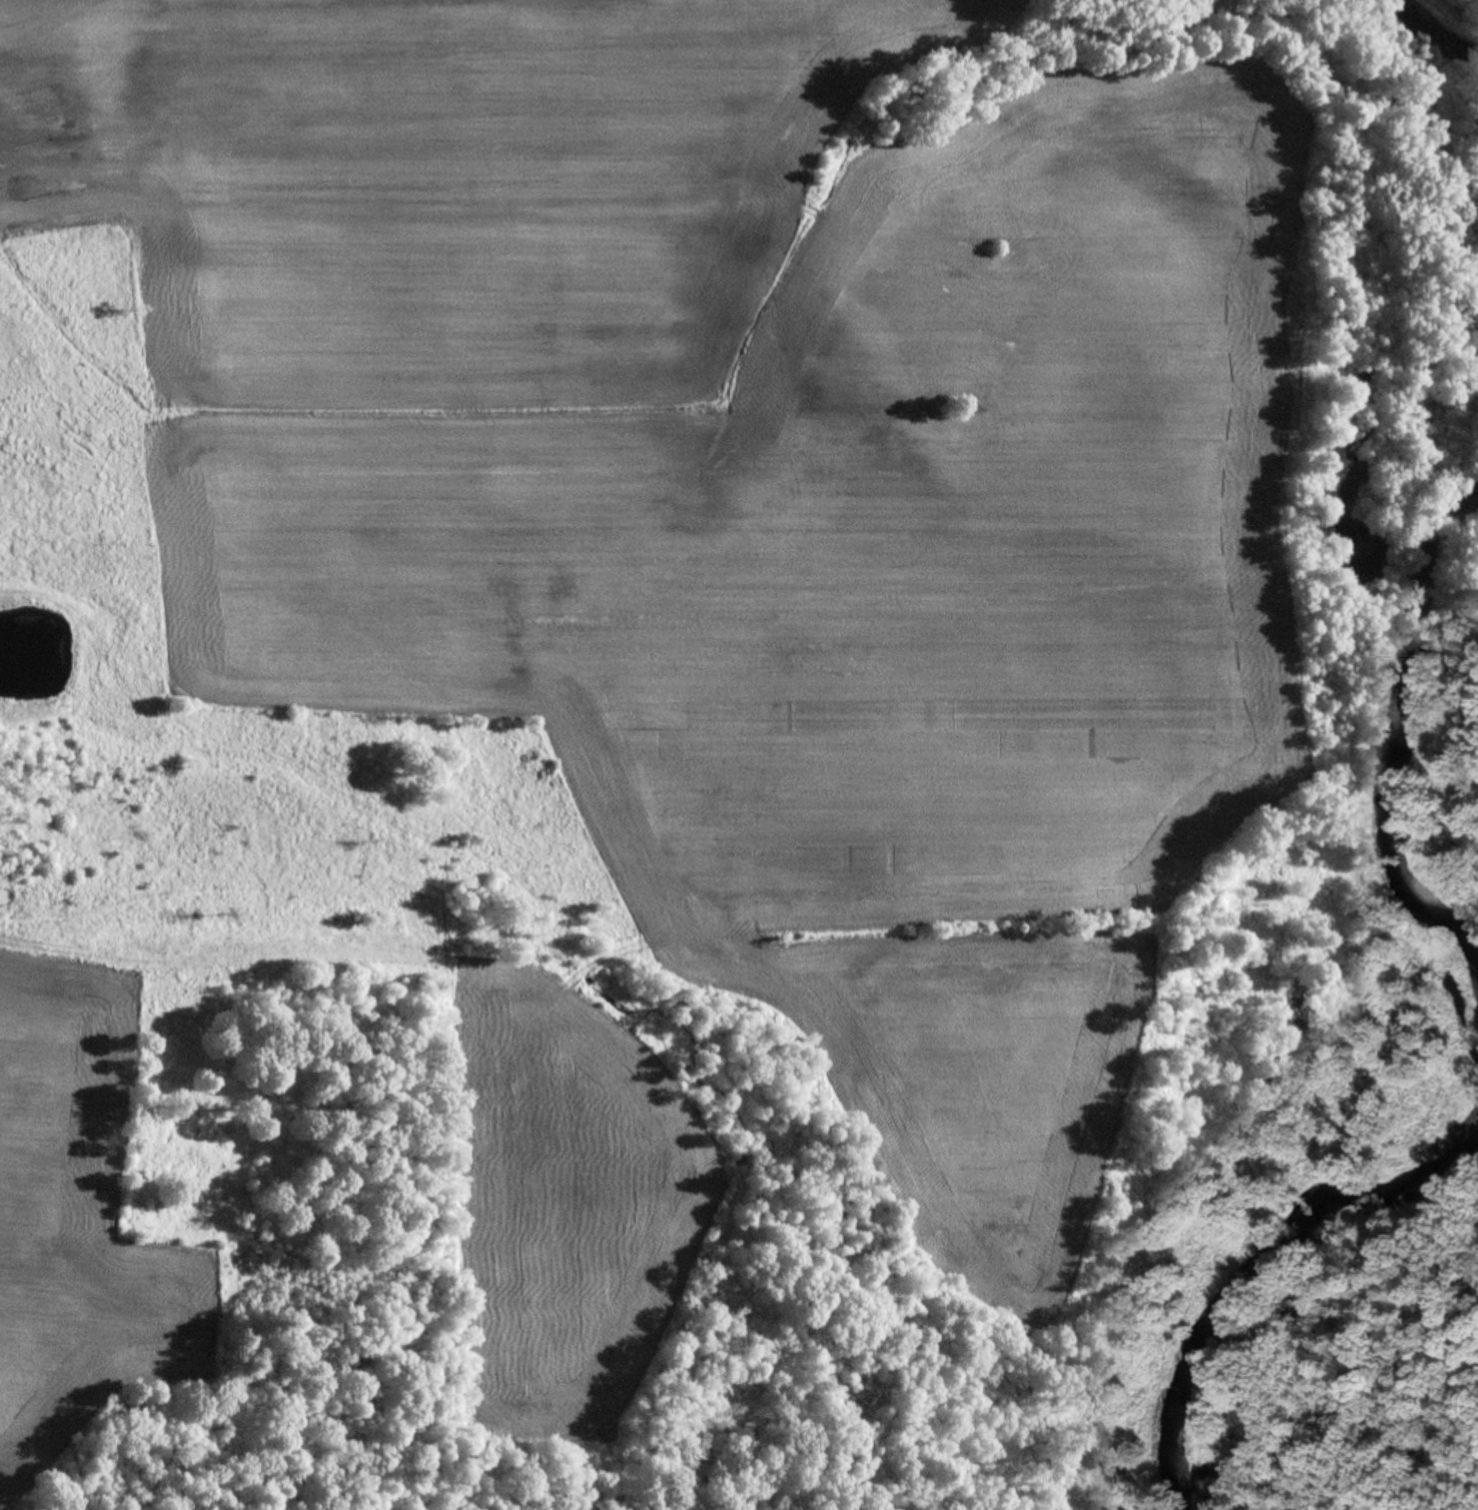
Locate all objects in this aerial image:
river: (1452, 20)
road: (67, 214)
river: (1389, 698)
river: (1449, 943)
river: (1471, 1102)
river: (1293, 1237)
river: (1226, 1479)

